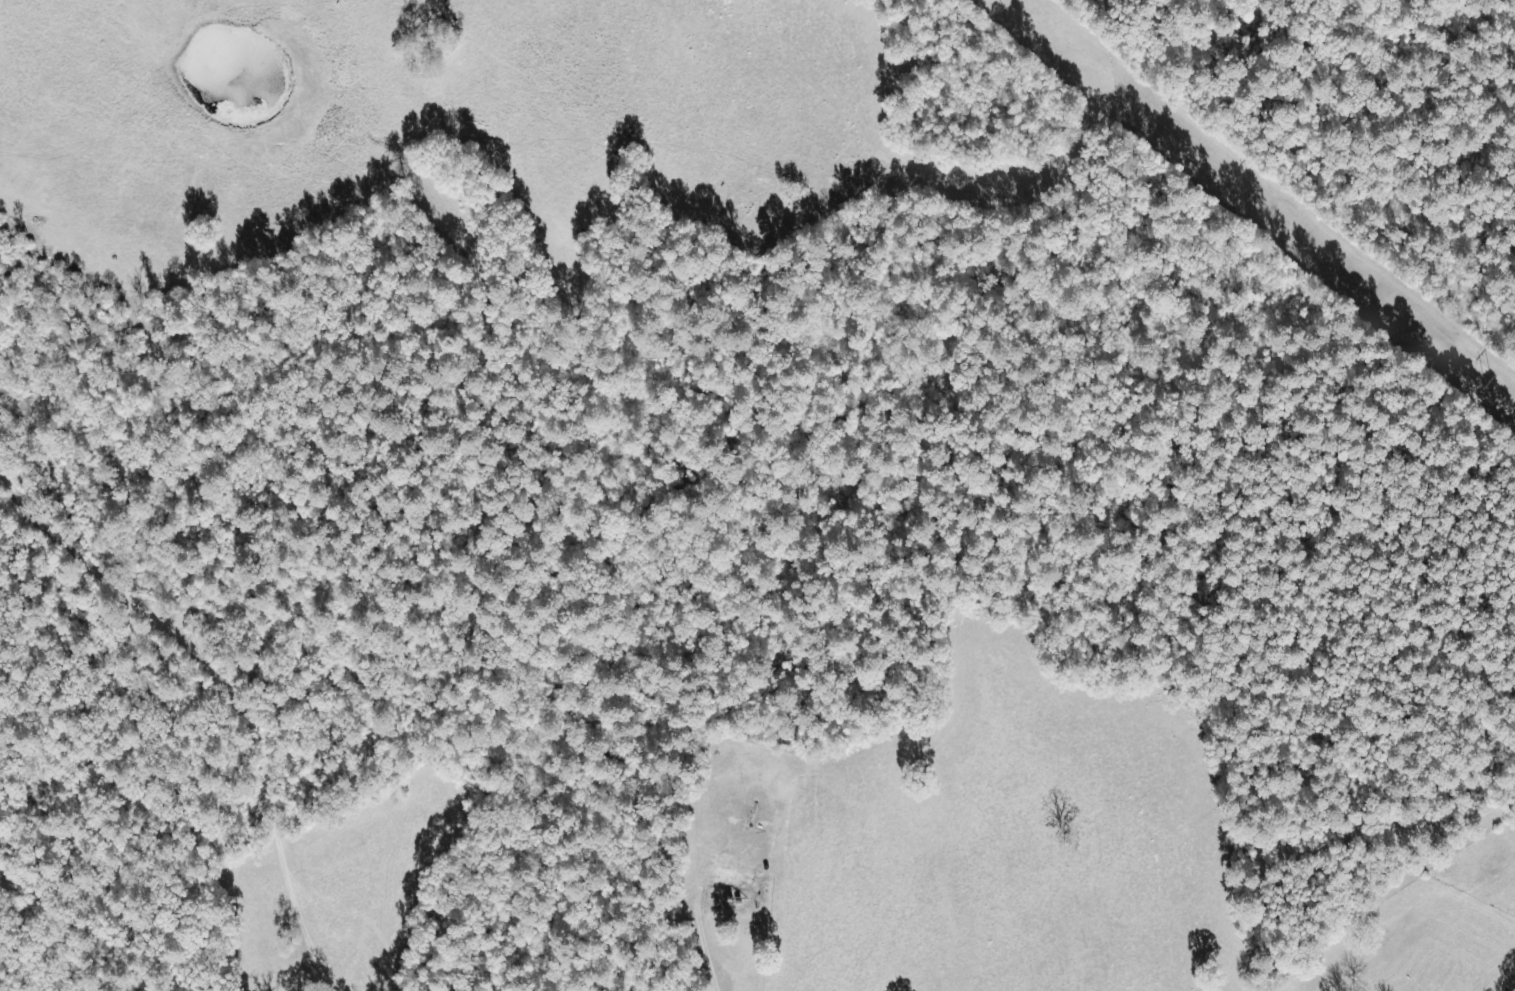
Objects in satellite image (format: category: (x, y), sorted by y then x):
power tower: (1262, 211)
power tower: (1496, 399)

